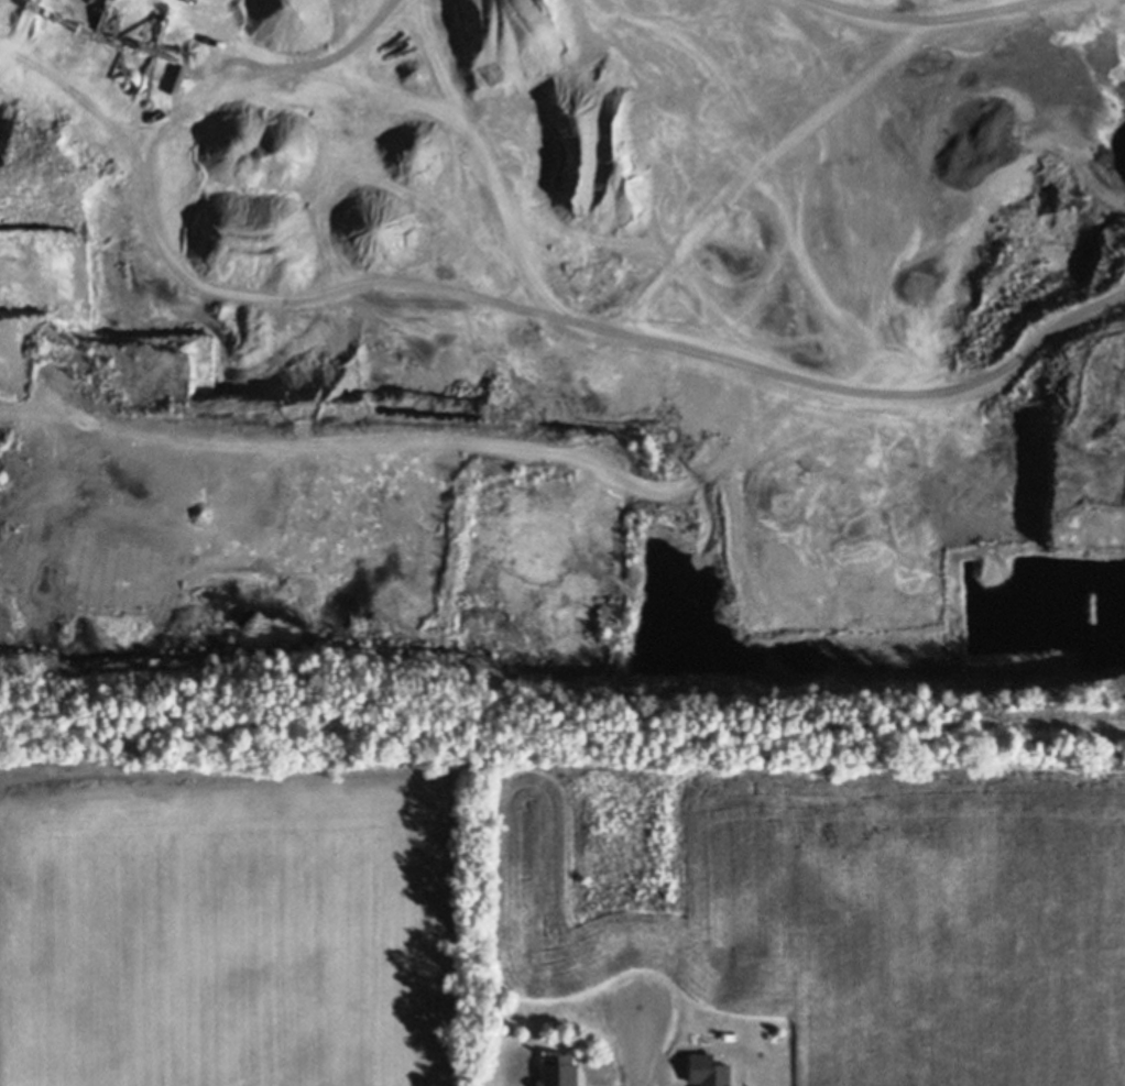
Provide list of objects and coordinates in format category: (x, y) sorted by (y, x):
quarry: (567, 337)
road: (640, 1033)
building: (779, 1034)
building: (562, 1071)
building: (710, 1072)

